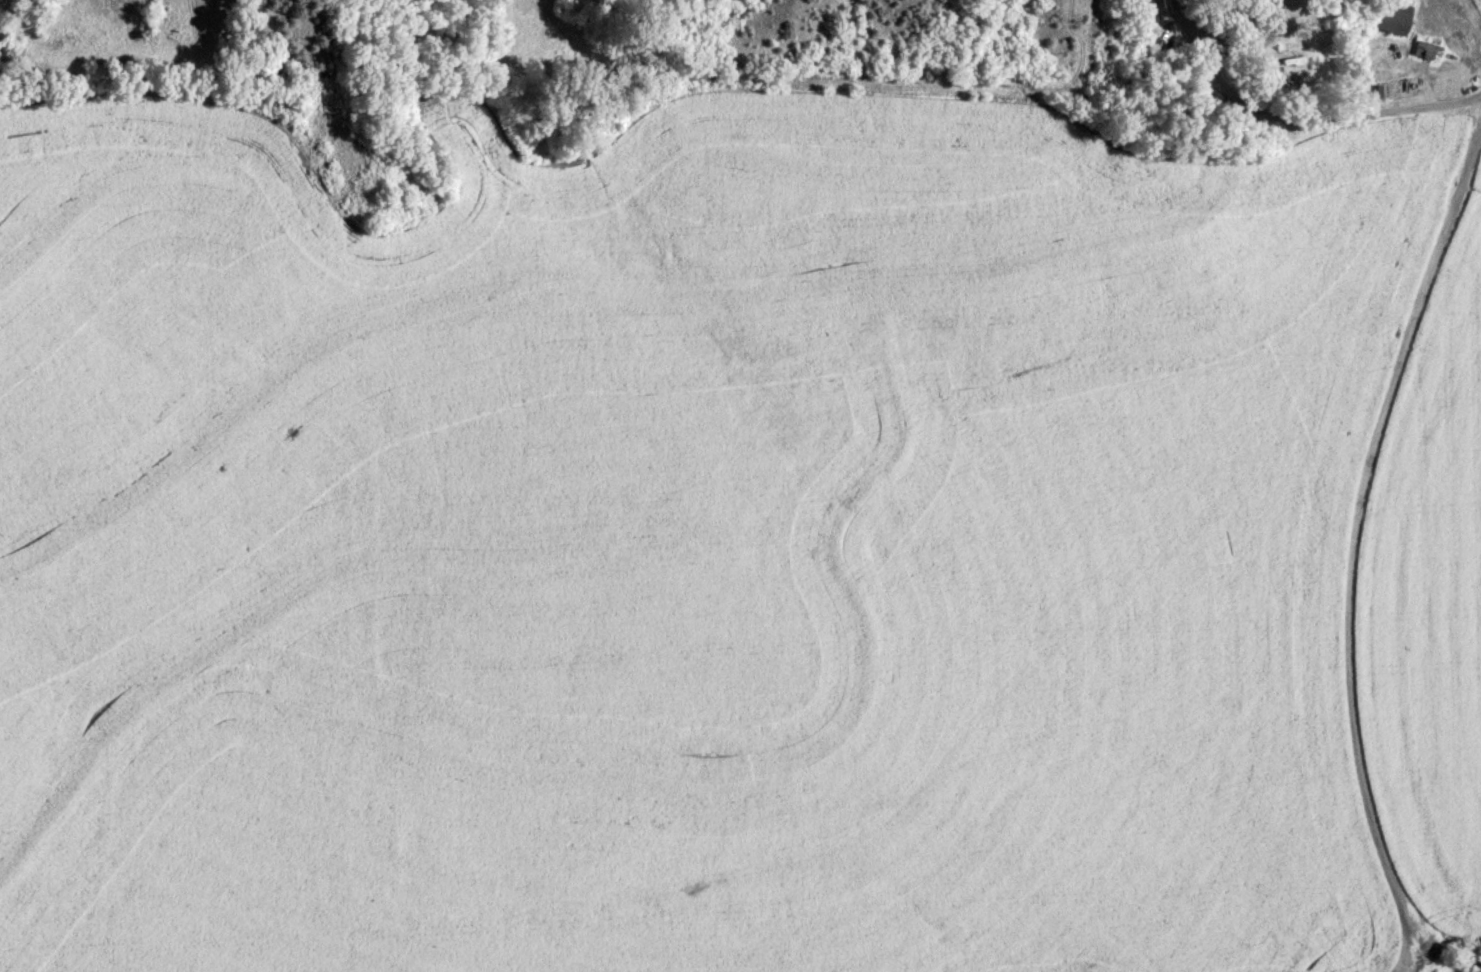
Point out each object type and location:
building: (1387, 14)
building: (1424, 48)
building: (1283, 66)
road: (1468, 200)

